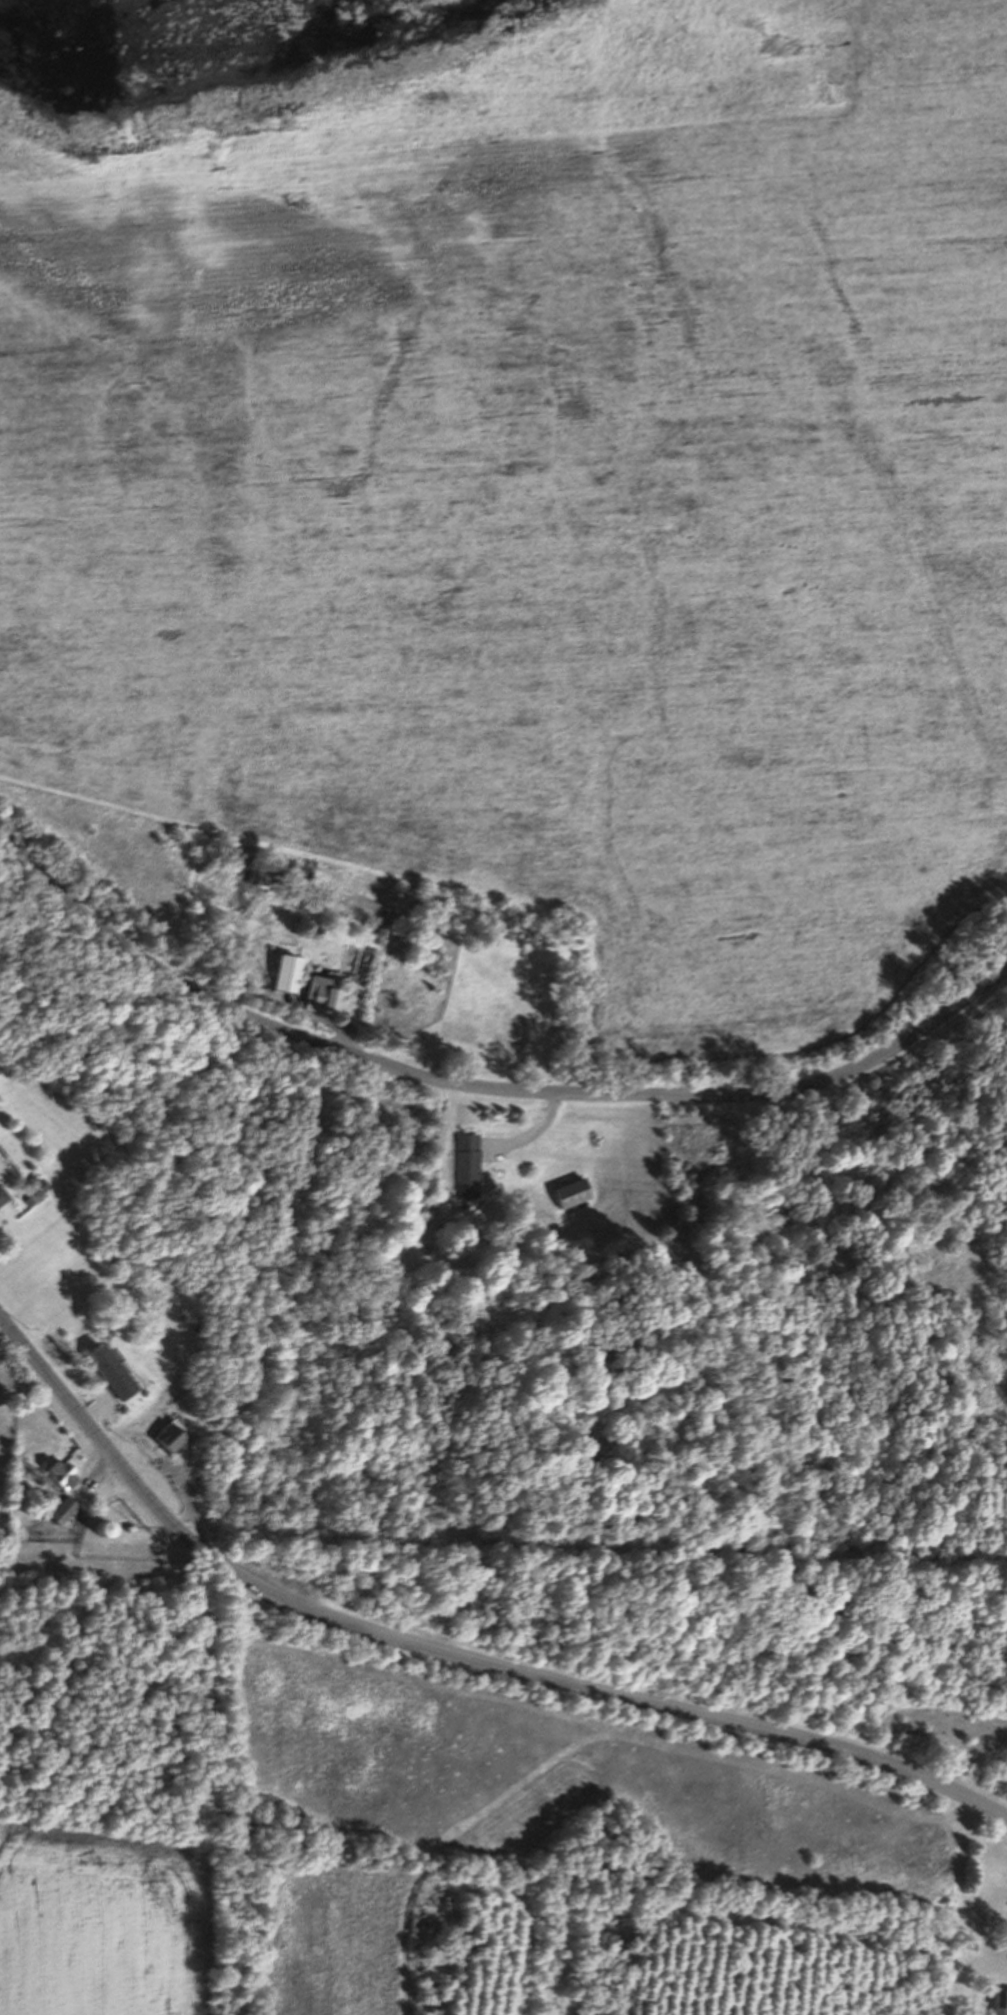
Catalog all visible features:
building: (284, 972)
road: (262, 997)
building: (321, 999)
road: (486, 1086)
road: (531, 1133)
building: (465, 1164)
building: (36, 1186)
building: (574, 1192)
building: (3, 1197)
building: (107, 1372)
crop: (2, 1400)
road: (99, 1434)
building: (58, 1474)
building: (60, 1510)
building: (127, 1528)
water tower: (97, 1529)
road: (603, 1690)
building: (998, 2001)

